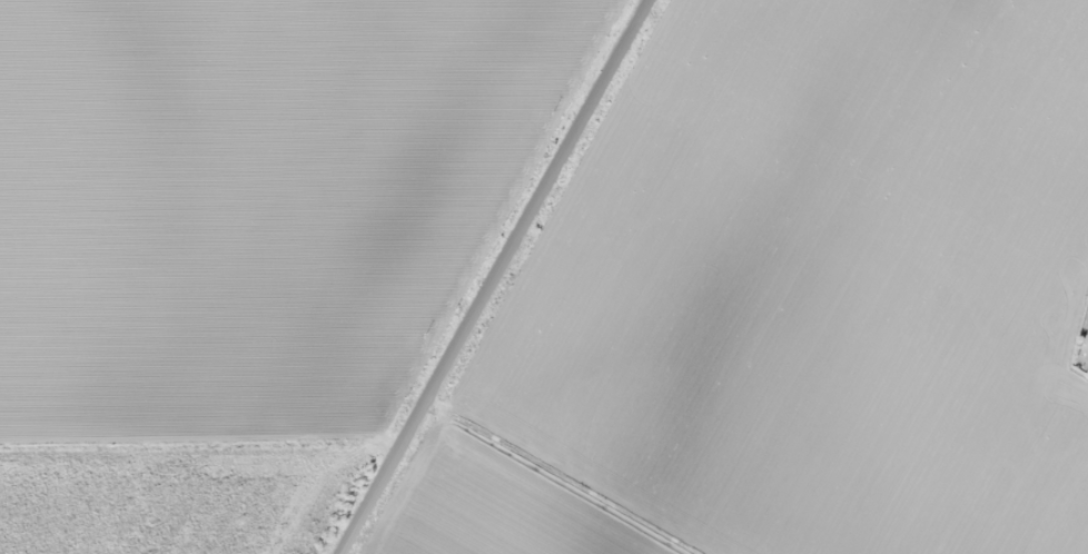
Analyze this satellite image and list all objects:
park: (1081, 340)

